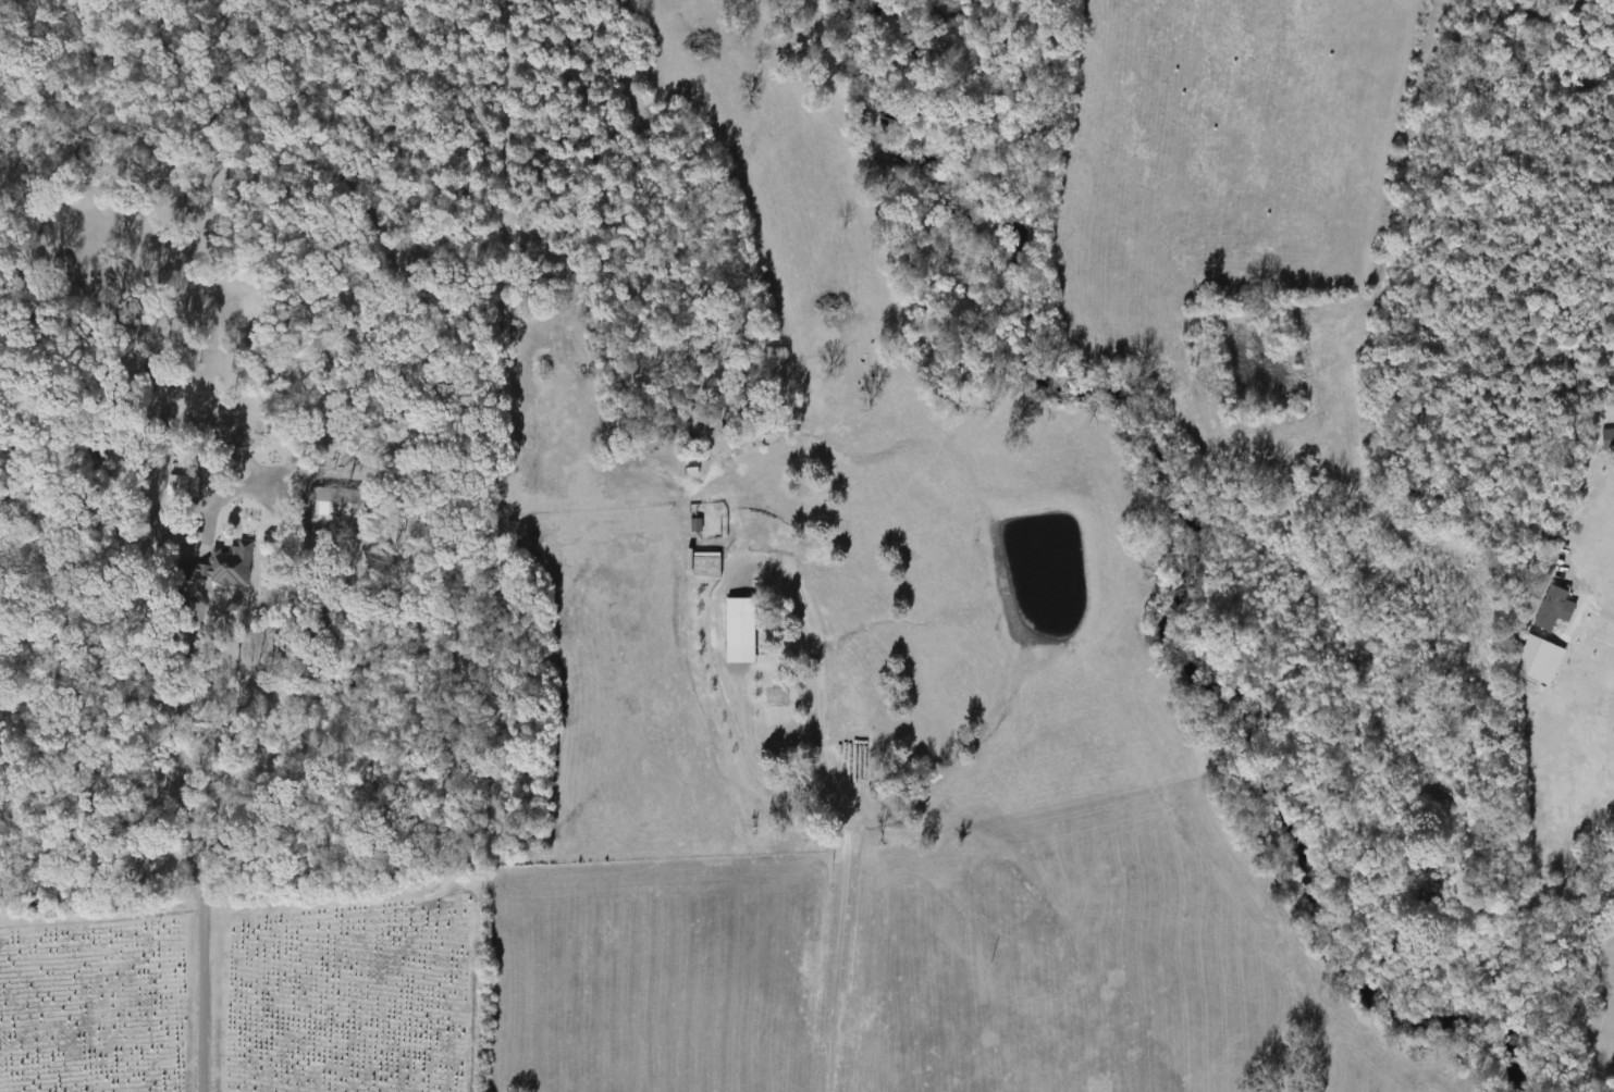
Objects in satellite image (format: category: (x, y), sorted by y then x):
building: (180, 485)
building: (340, 502)
building: (219, 563)
road: (732, 570)
building: (1549, 606)
road: (1602, 609)
building: (737, 628)
road: (180, 848)
road: (837, 954)

